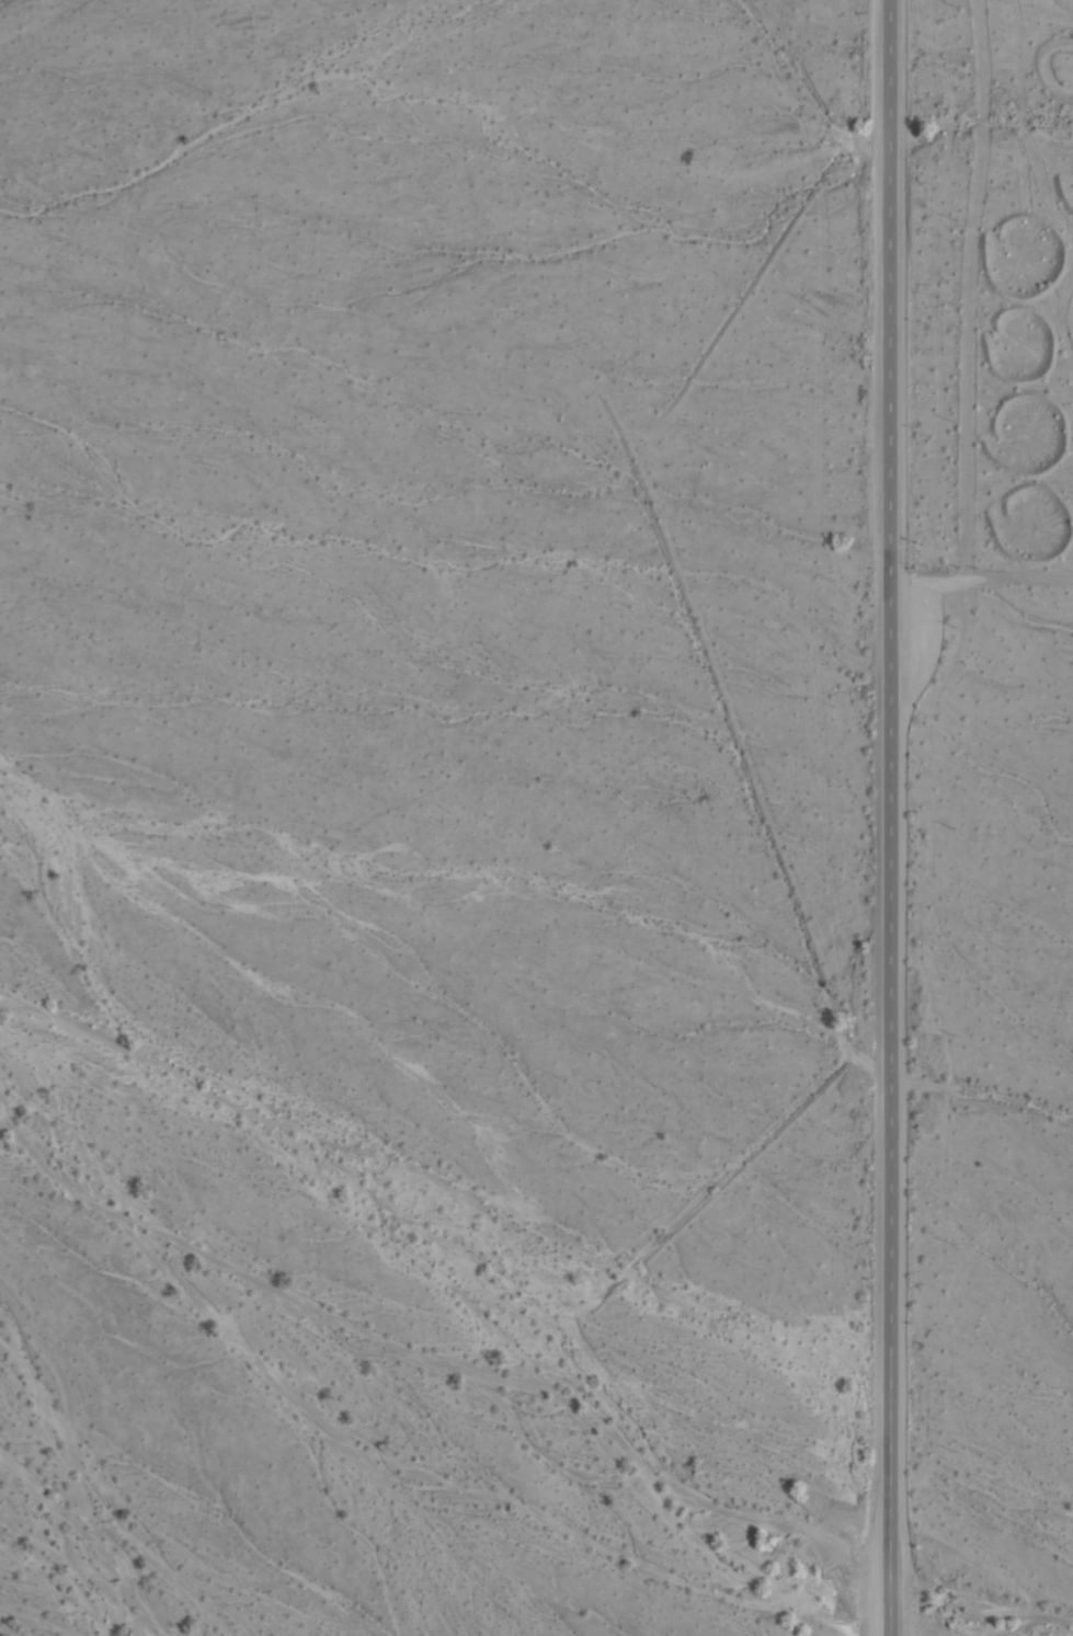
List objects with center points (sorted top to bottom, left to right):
road: (985, 572)
road: (898, 817)

